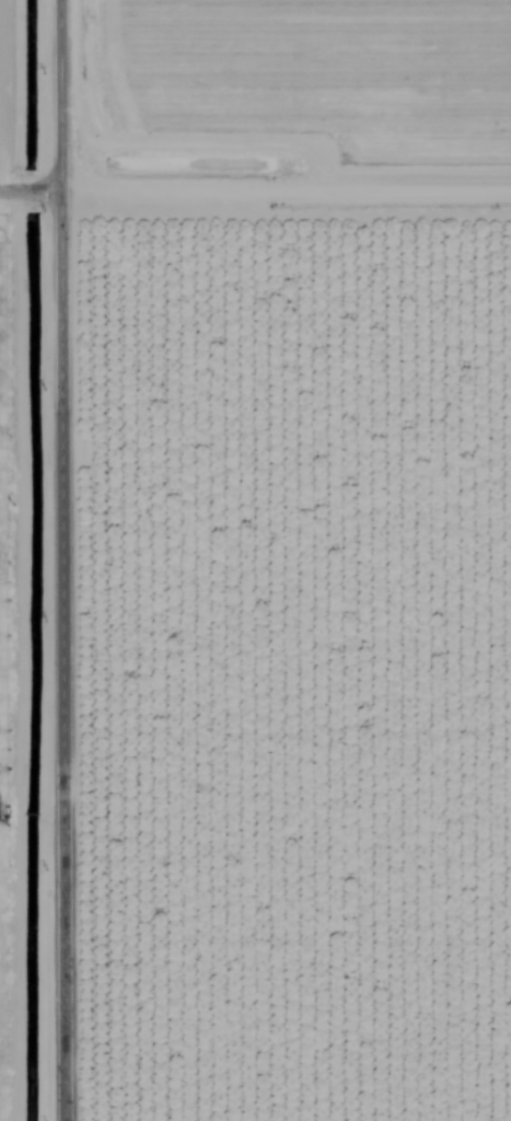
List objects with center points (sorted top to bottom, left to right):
road: (255, 183)
road: (50, 559)
crop: (255, 560)

